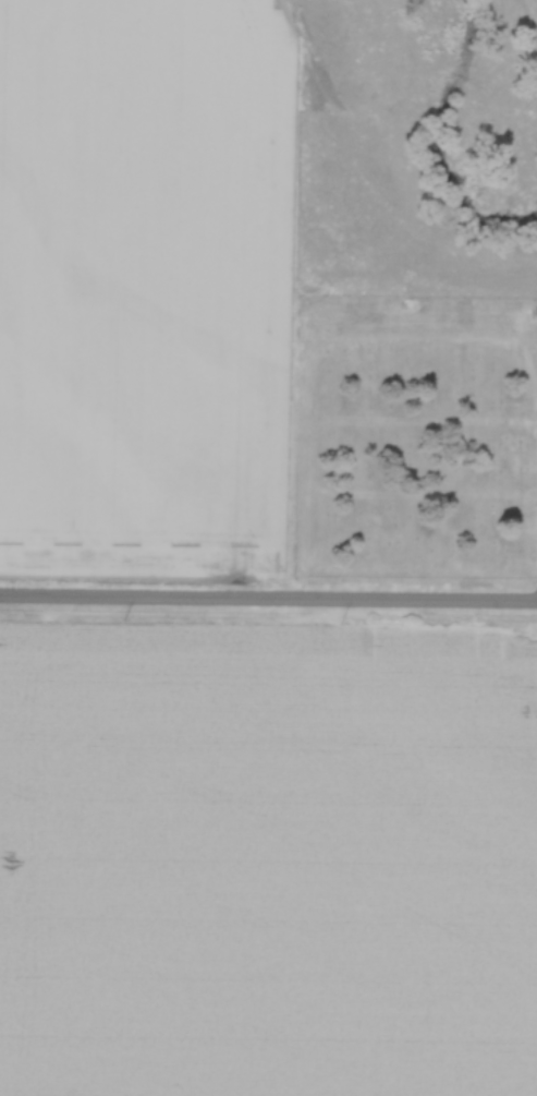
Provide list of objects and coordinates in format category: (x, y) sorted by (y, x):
road: (268, 600)

